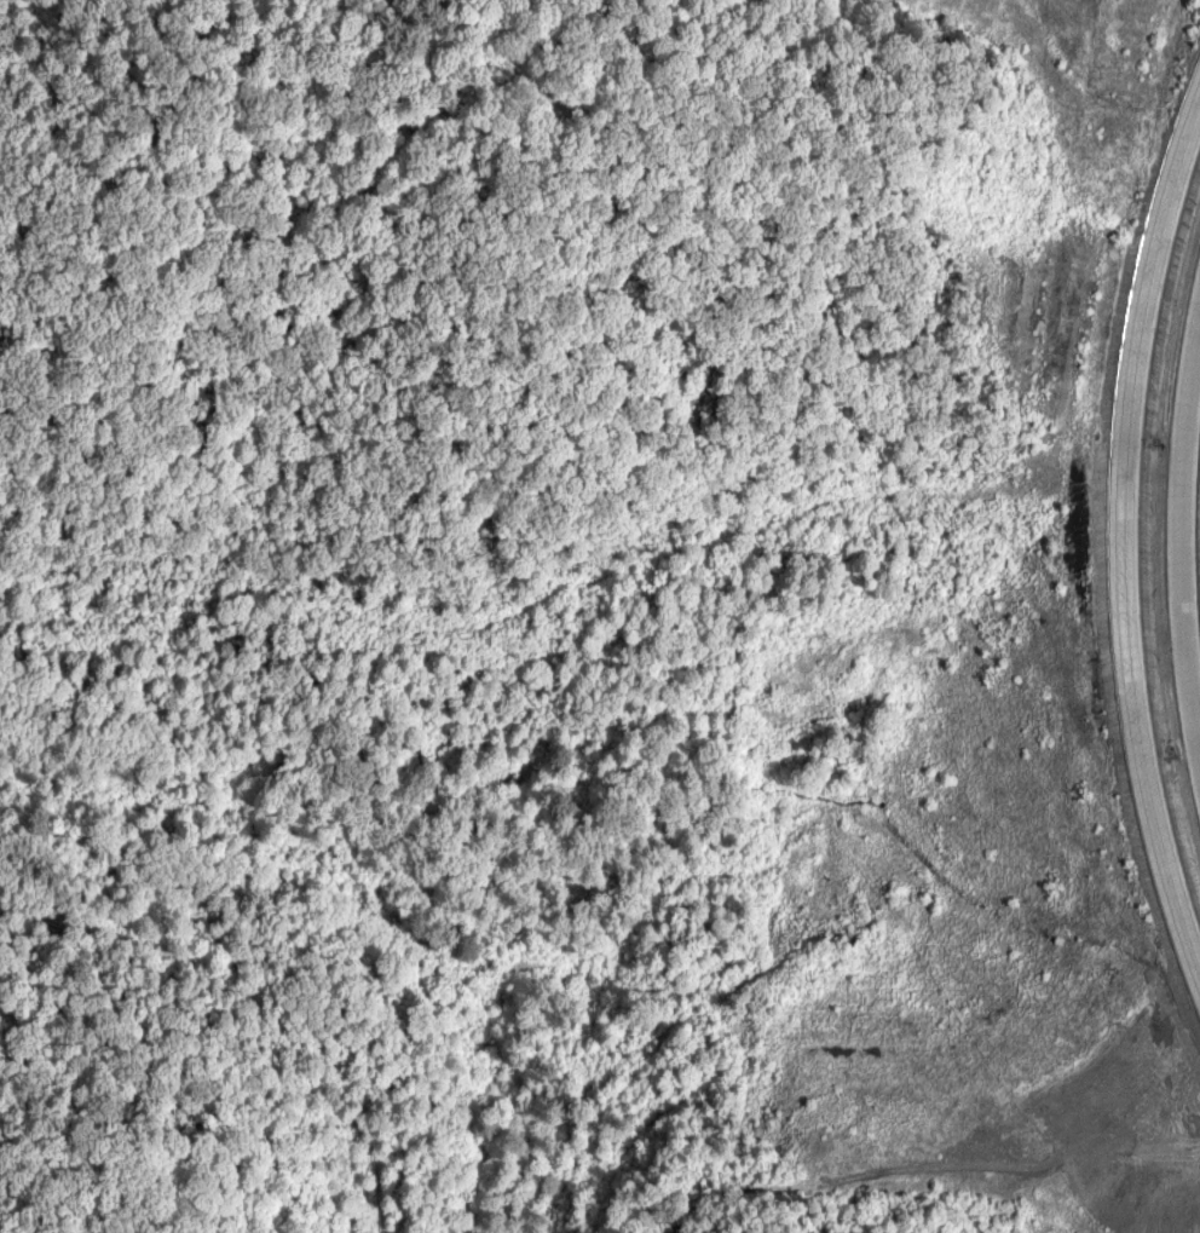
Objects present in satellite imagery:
quarry: (1042, 316)
road: (1121, 538)
road: (1189, 547)
building: (1117, 734)

